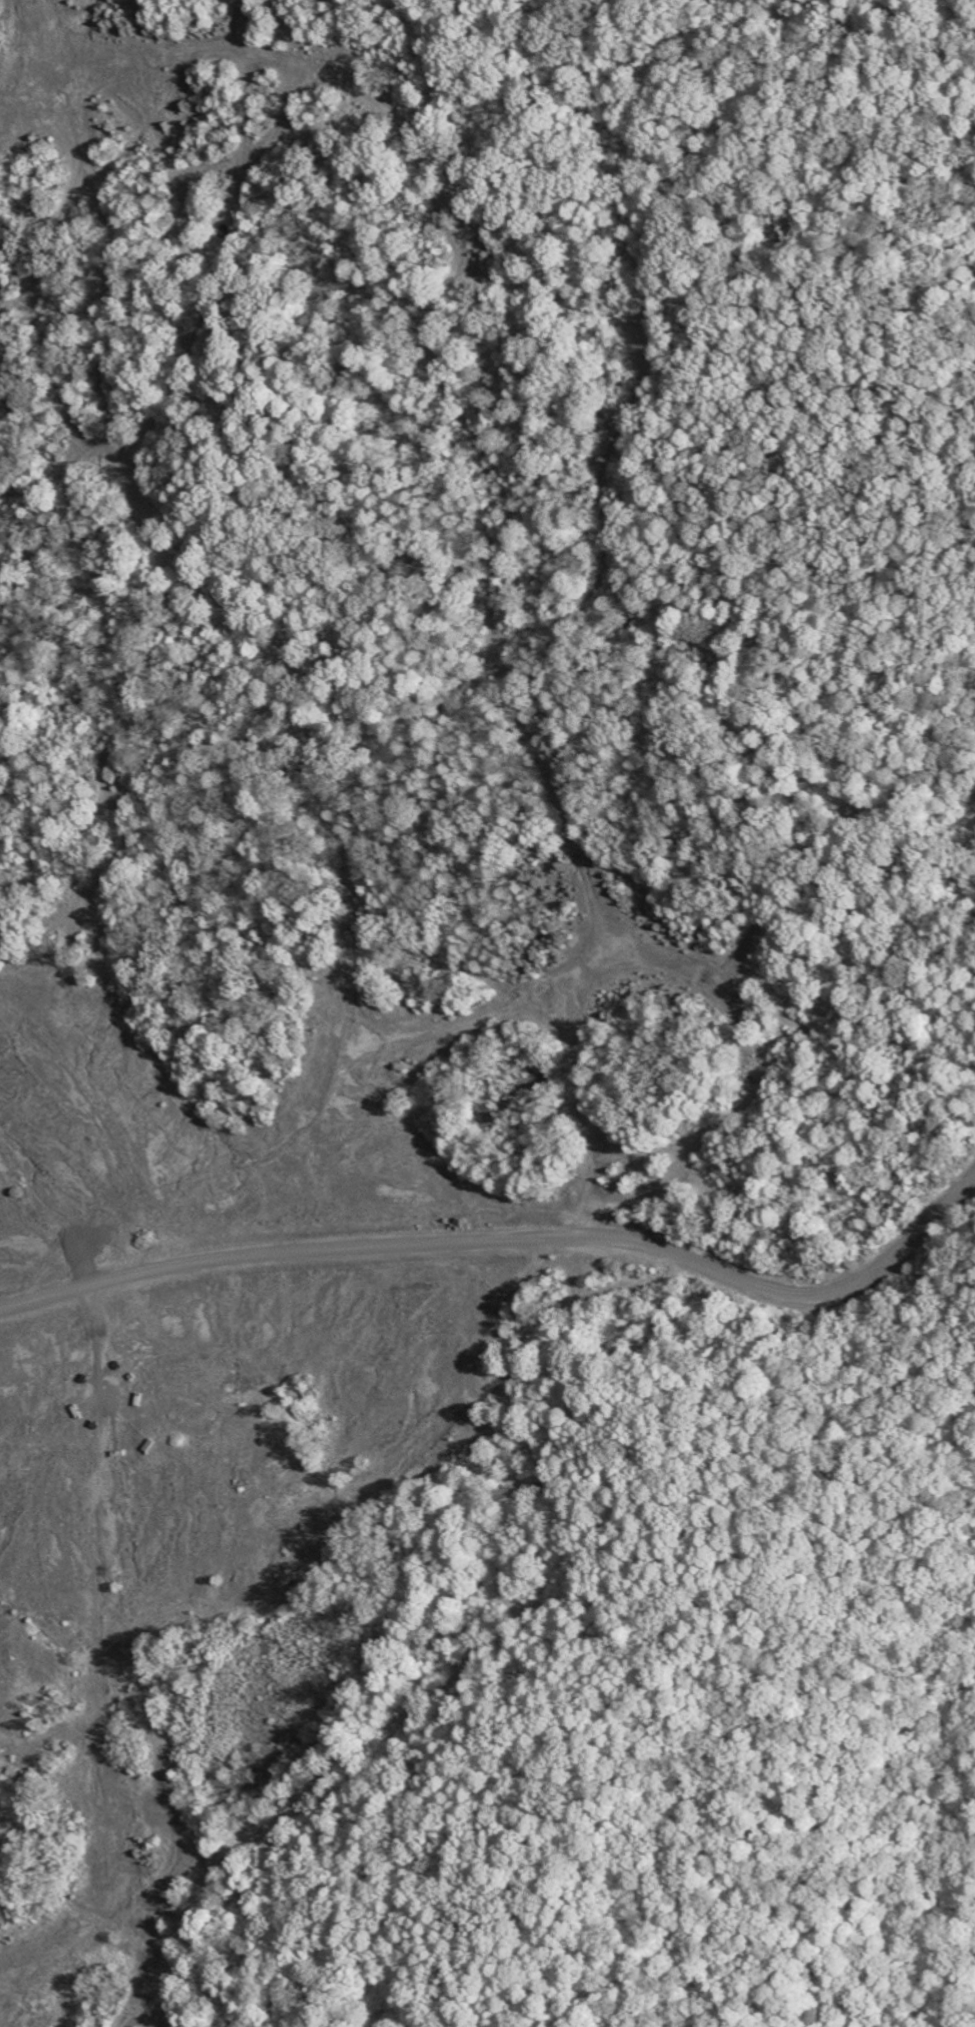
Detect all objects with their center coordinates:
road: (508, 1238)

